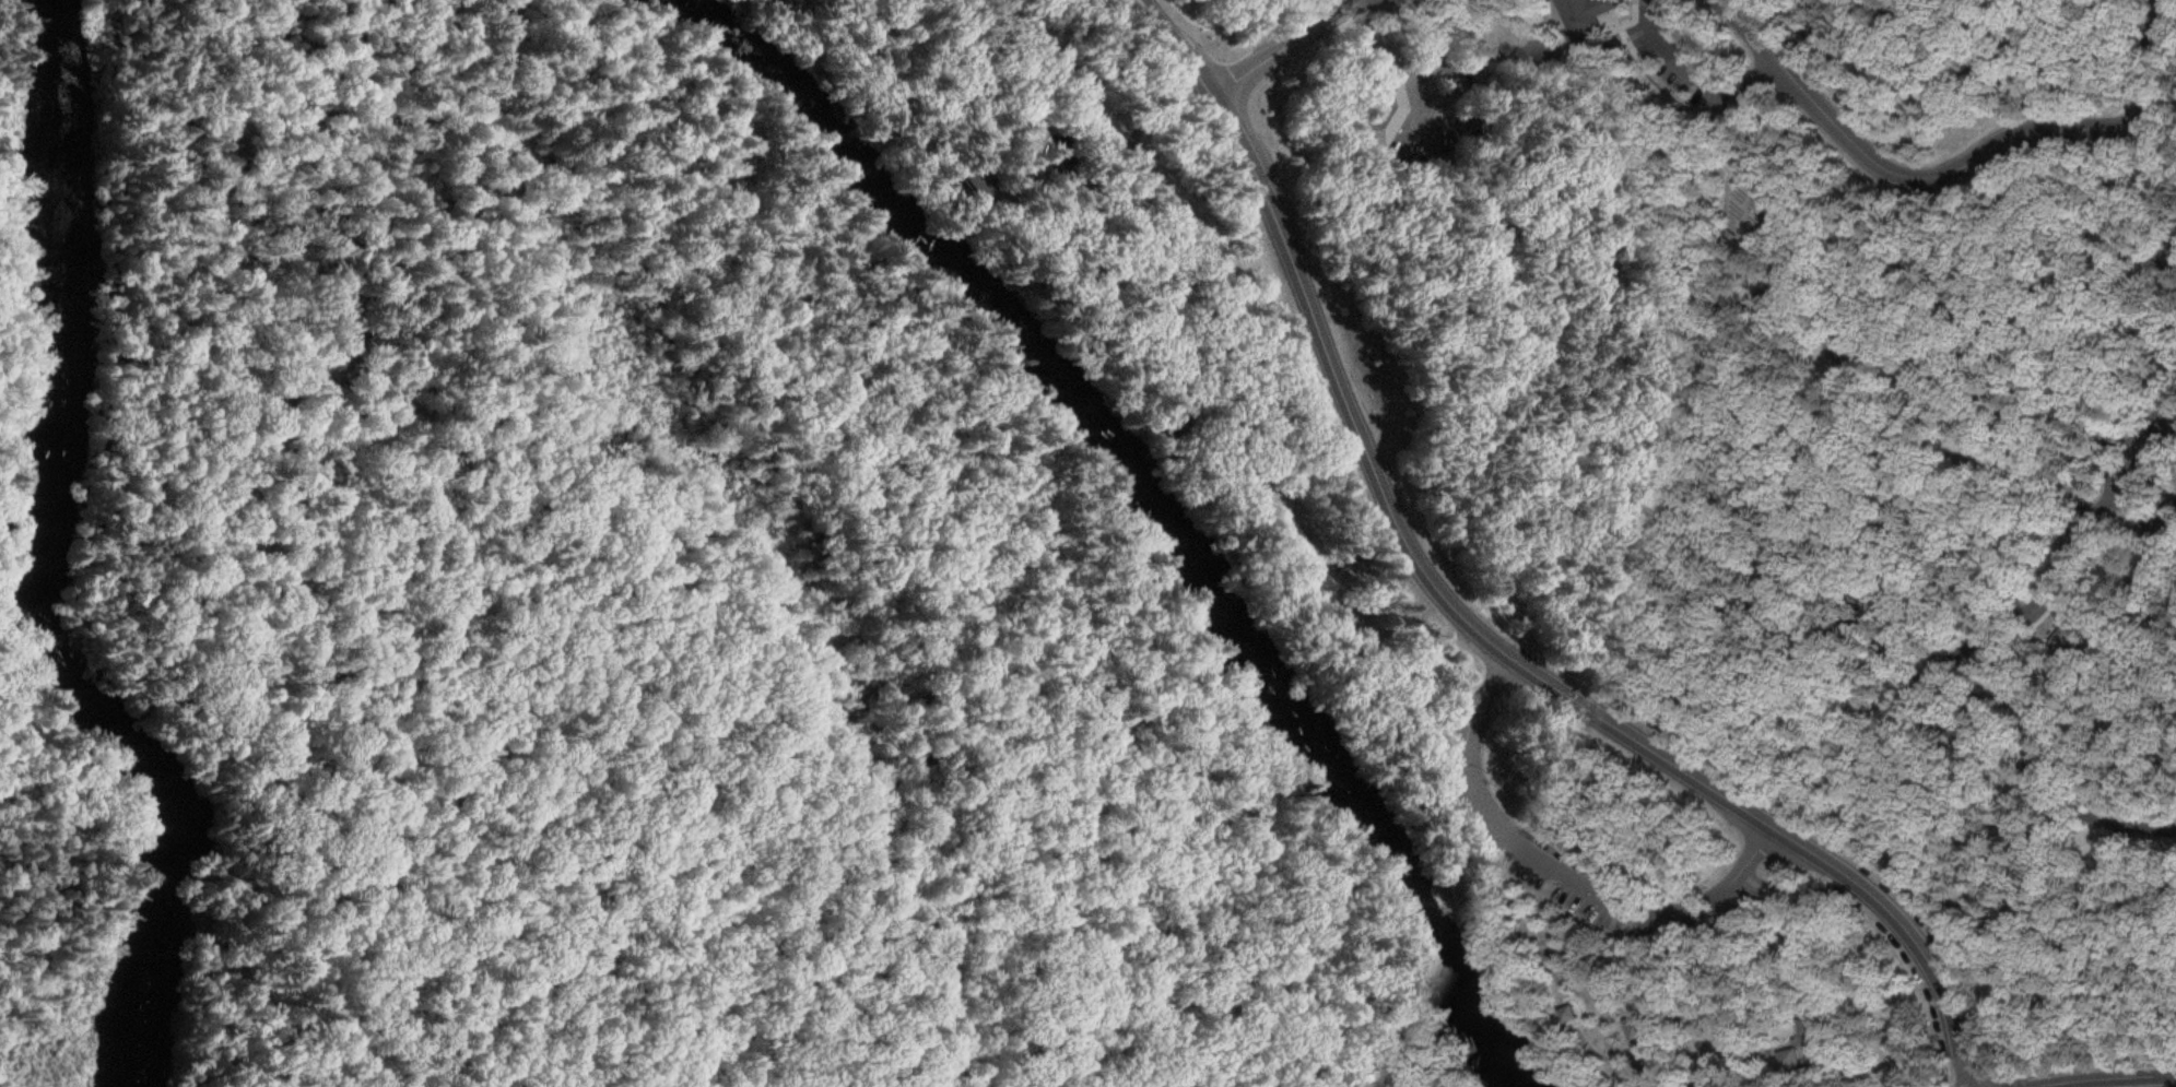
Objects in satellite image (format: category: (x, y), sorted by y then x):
building: (1578, 15)
road: (2167, 15)
road: (1413, 28)
road: (1737, 32)
road: (1798, 38)
road: (1280, 45)
parking lot: (1666, 62)
road: (1686, 69)
building: (1381, 105)
road: (1131, 149)
building: (1061, 150)
road: (1934, 176)
building: (974, 178)
road: (2165, 252)
parking lot: (1839, 342)
road: (1247, 363)
road: (1916, 395)
building: (1165, 414)
road: (1687, 417)
river: (1142, 507)
road: (2137, 518)
river: (46, 559)
road: (2021, 605)
road: (1470, 622)
building: (2057, 636)
road: (1839, 749)
road: (2035, 791)
road: (1490, 860)
road: (1561, 867)
parking lot: (1563, 894)
road: (1470, 928)
road: (1620, 991)
road: (268, 1007)
road: (1568, 1007)
building: (1569, 1009)
building: (1383, 1021)
building: (1642, 1021)
building: (1810, 1021)
building: (1351, 1035)
road: (1772, 1045)
building: (1814, 1049)
building: (1791, 1052)
building: (1411, 1061)
building: (1388, 1084)

